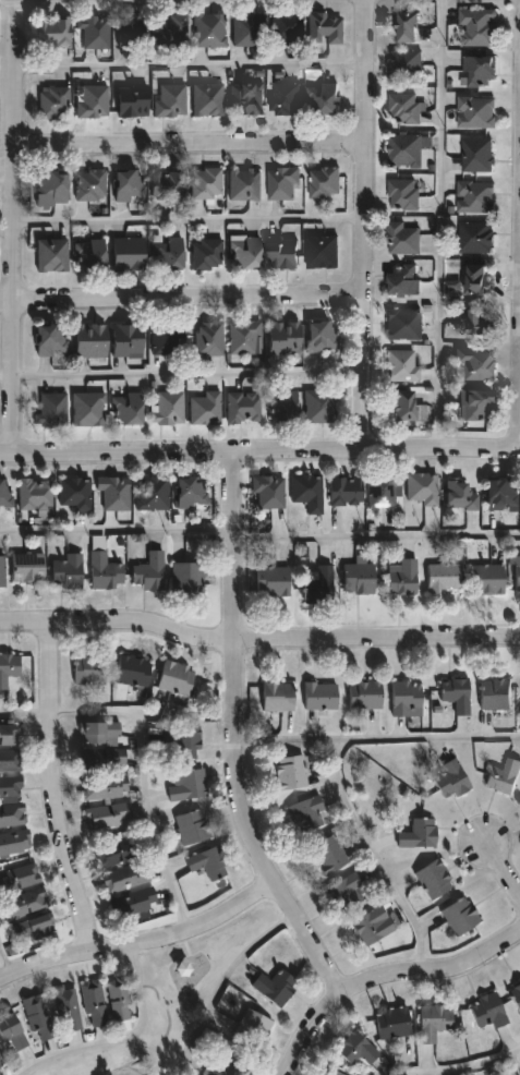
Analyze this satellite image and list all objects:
road: (7, 0)
road: (43, 0)
building: (411, 26)
building: (480, 26)
building: (326, 27)
building: (173, 28)
building: (289, 28)
building: (209, 29)
building: (249, 29)
building: (94, 31)
building: (134, 31)
building: (55, 32)
building: (407, 64)
road: (191, 65)
building: (481, 71)
building: (287, 97)
building: (324, 97)
building: (247, 98)
building: (208, 99)
building: (93, 100)
building: (171, 100)
building: (53, 102)
building: (133, 102)
building: (404, 107)
building: (477, 111)
road: (190, 148)
building: (408, 149)
building: (479, 154)
building: (327, 181)
building: (285, 182)
building: (131, 183)
building: (207, 183)
building: (168, 184)
building: (245, 184)
building: (93, 185)
building: (52, 188)
building: (404, 193)
building: (476, 196)
road: (190, 219)
road: (364, 226)
road: (439, 226)
road: (15, 229)
building: (477, 235)
building: (404, 237)
building: (324, 251)
building: (246, 252)
building: (169, 253)
building: (287, 253)
building: (52, 254)
building: (90, 254)
building: (130, 254)
building: (207, 254)
building: (406, 278)
building: (480, 278)
building: (454, 286)
road: (189, 303)
road: (7, 304)
building: (476, 322)
building: (404, 323)
building: (246, 337)
building: (287, 337)
building: (325, 337)
building: (168, 338)
building: (209, 339)
building: (51, 340)
building: (92, 340)
building: (130, 340)
building: (475, 364)
building: (403, 365)
road: (182, 374)
building: (477, 406)
building: (285, 407)
building: (323, 407)
building: (409, 407)
building: (170, 408)
building: (245, 408)
building: (129, 409)
building: (206, 409)
building: (52, 410)
building: (88, 410)
road: (519, 411)
road: (259, 456)
building: (423, 488)
building: (269, 491)
building: (309, 491)
building: (347, 491)
building: (384, 491)
building: (75, 493)
building: (114, 493)
building: (154, 493)
building: (192, 493)
building: (503, 493)
building: (35, 494)
building: (5, 495)
building: (461, 495)
road: (117, 530)
road: (376, 537)
building: (26, 567)
building: (1, 570)
building: (66, 570)
building: (104, 570)
building: (148, 572)
building: (517, 572)
building: (402, 576)
building: (186, 577)
building: (444, 577)
building: (270, 578)
building: (359, 578)
building: (488, 579)
building: (318, 585)
road: (258, 642)
building: (8, 666)
building: (89, 669)
building: (132, 671)
building: (176, 678)
building: (496, 692)
building: (364, 693)
building: (456, 693)
building: (319, 694)
building: (278, 696)
building: (406, 698)
road: (24, 713)
building: (99, 733)
building: (9, 735)
road: (377, 736)
road: (235, 740)
building: (183, 742)
building: (104, 759)
building: (10, 760)
building: (289, 772)
building: (504, 775)
building: (449, 778)
building: (186, 785)
road: (146, 786)
building: (10, 787)
building: (104, 787)
road: (51, 792)
building: (12, 814)
building: (108, 816)
building: (306, 816)
building: (192, 826)
building: (418, 834)
building: (14, 842)
building: (114, 850)
building: (328, 855)
road: (375, 857)
building: (210, 865)
road: (503, 872)
building: (19, 877)
building: (124, 877)
building: (433, 880)
building: (347, 891)
building: (132, 902)
building: (23, 904)
building: (459, 916)
building: (368, 925)
building: (32, 928)
road: (142, 944)
road: (5, 966)
road: (387, 979)
road: (219, 985)
building: (275, 986)
building: (516, 993)
park: (173, 997)
building: (118, 999)
building: (93, 1002)
building: (65, 1008)
building: (488, 1010)
building: (37, 1017)
building: (434, 1022)
building: (392, 1023)
building: (253, 1027)
building: (11, 1031)
road: (119, 1040)
building: (356, 1049)
building: (0, 1062)
road: (469, 1067)
building: (220, 1068)
building: (332, 1073)

